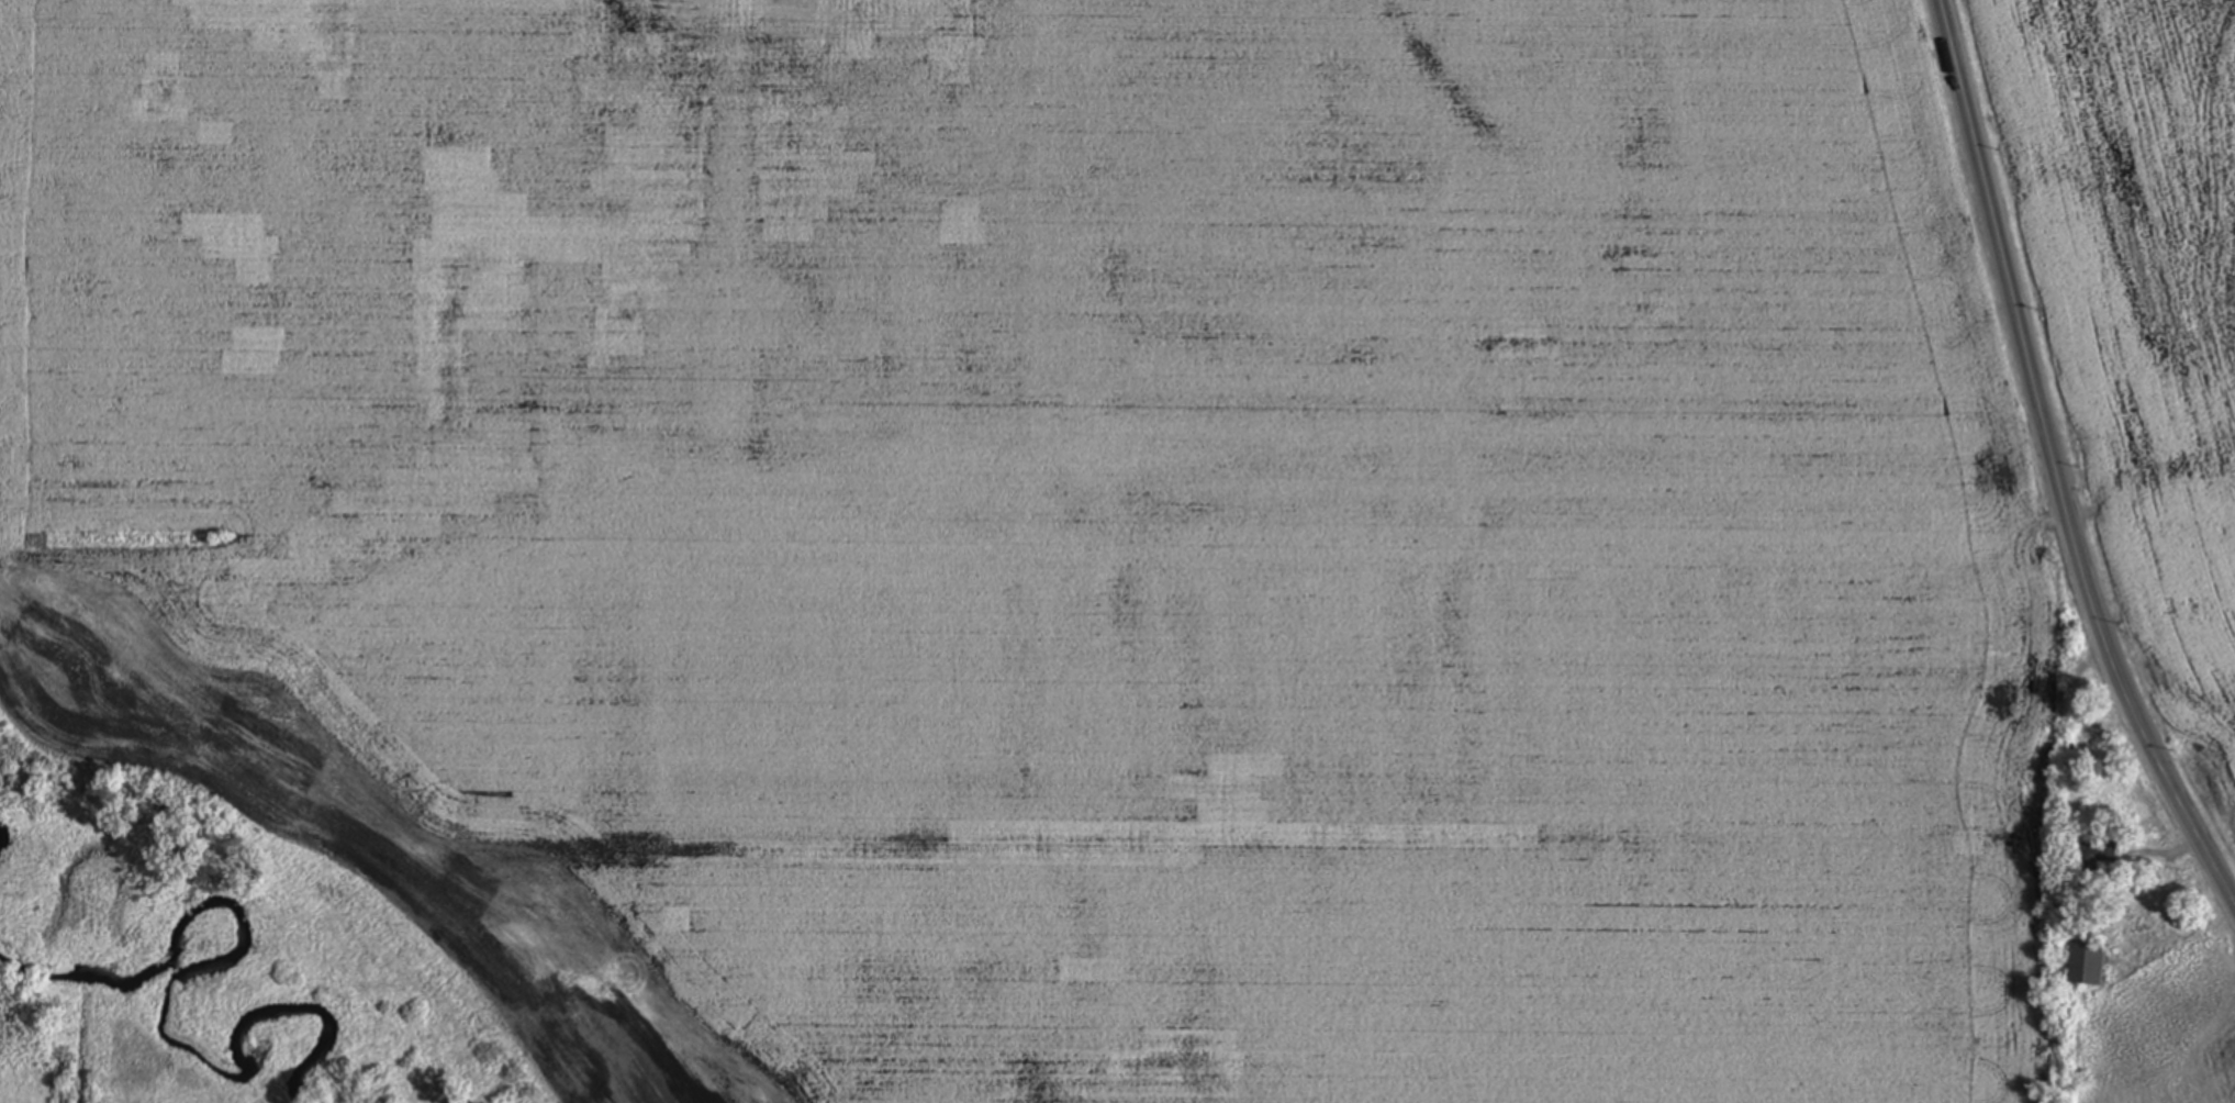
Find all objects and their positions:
road: (2055, 463)
building: (2099, 857)
building: (2087, 965)

